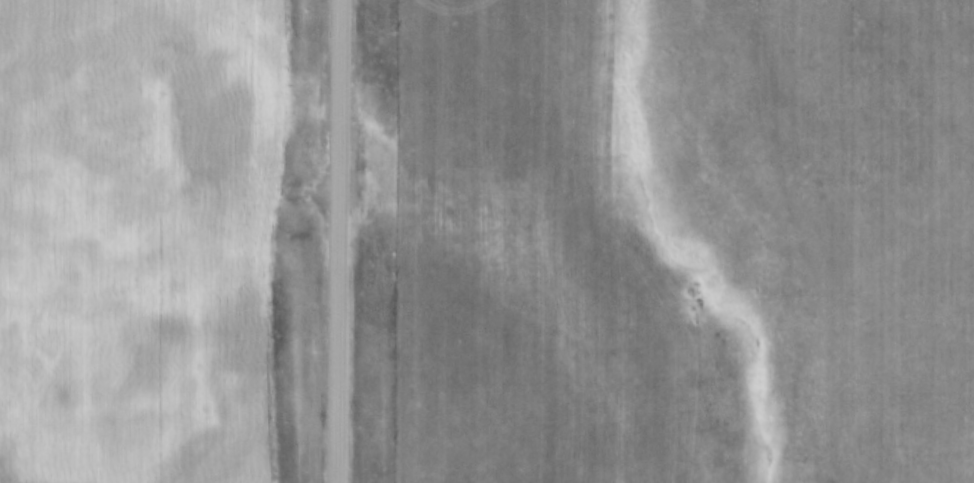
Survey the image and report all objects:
road: (339, 241)

